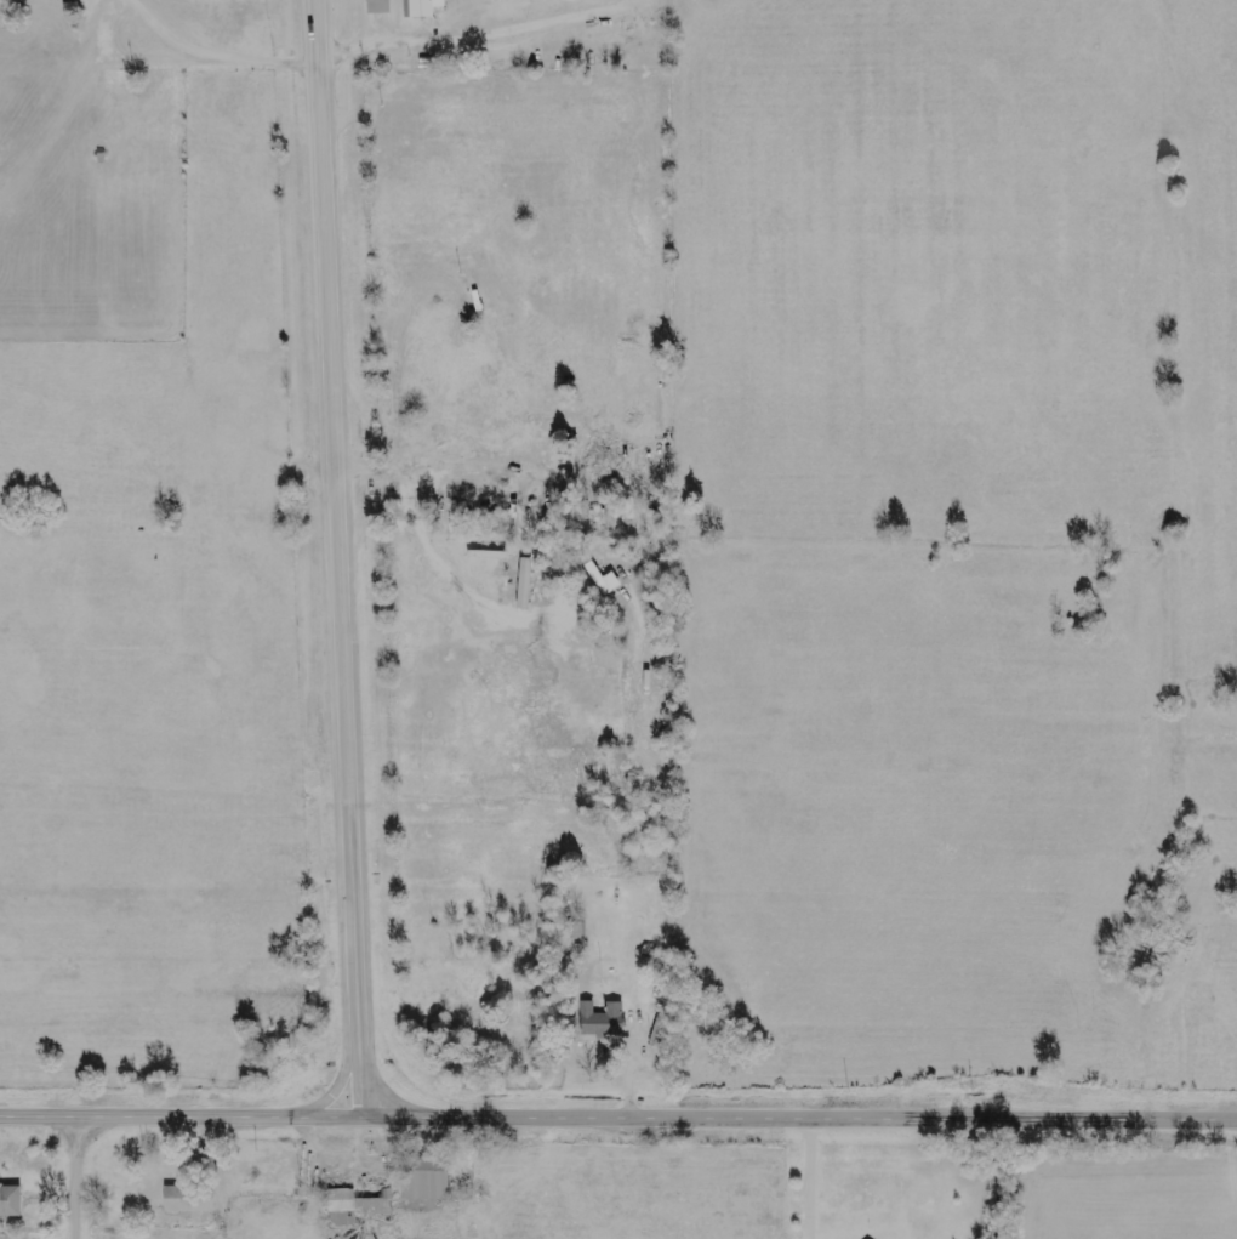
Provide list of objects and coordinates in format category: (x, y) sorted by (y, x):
building: (378, 7)
building: (421, 8)
building: (112, 84)
building: (597, 516)
road: (340, 559)
building: (524, 582)
building: (603, 1018)
road: (617, 1118)
road: (80, 1178)
building: (427, 1180)
building: (188, 1199)
building: (10, 1201)
building: (357, 1204)

